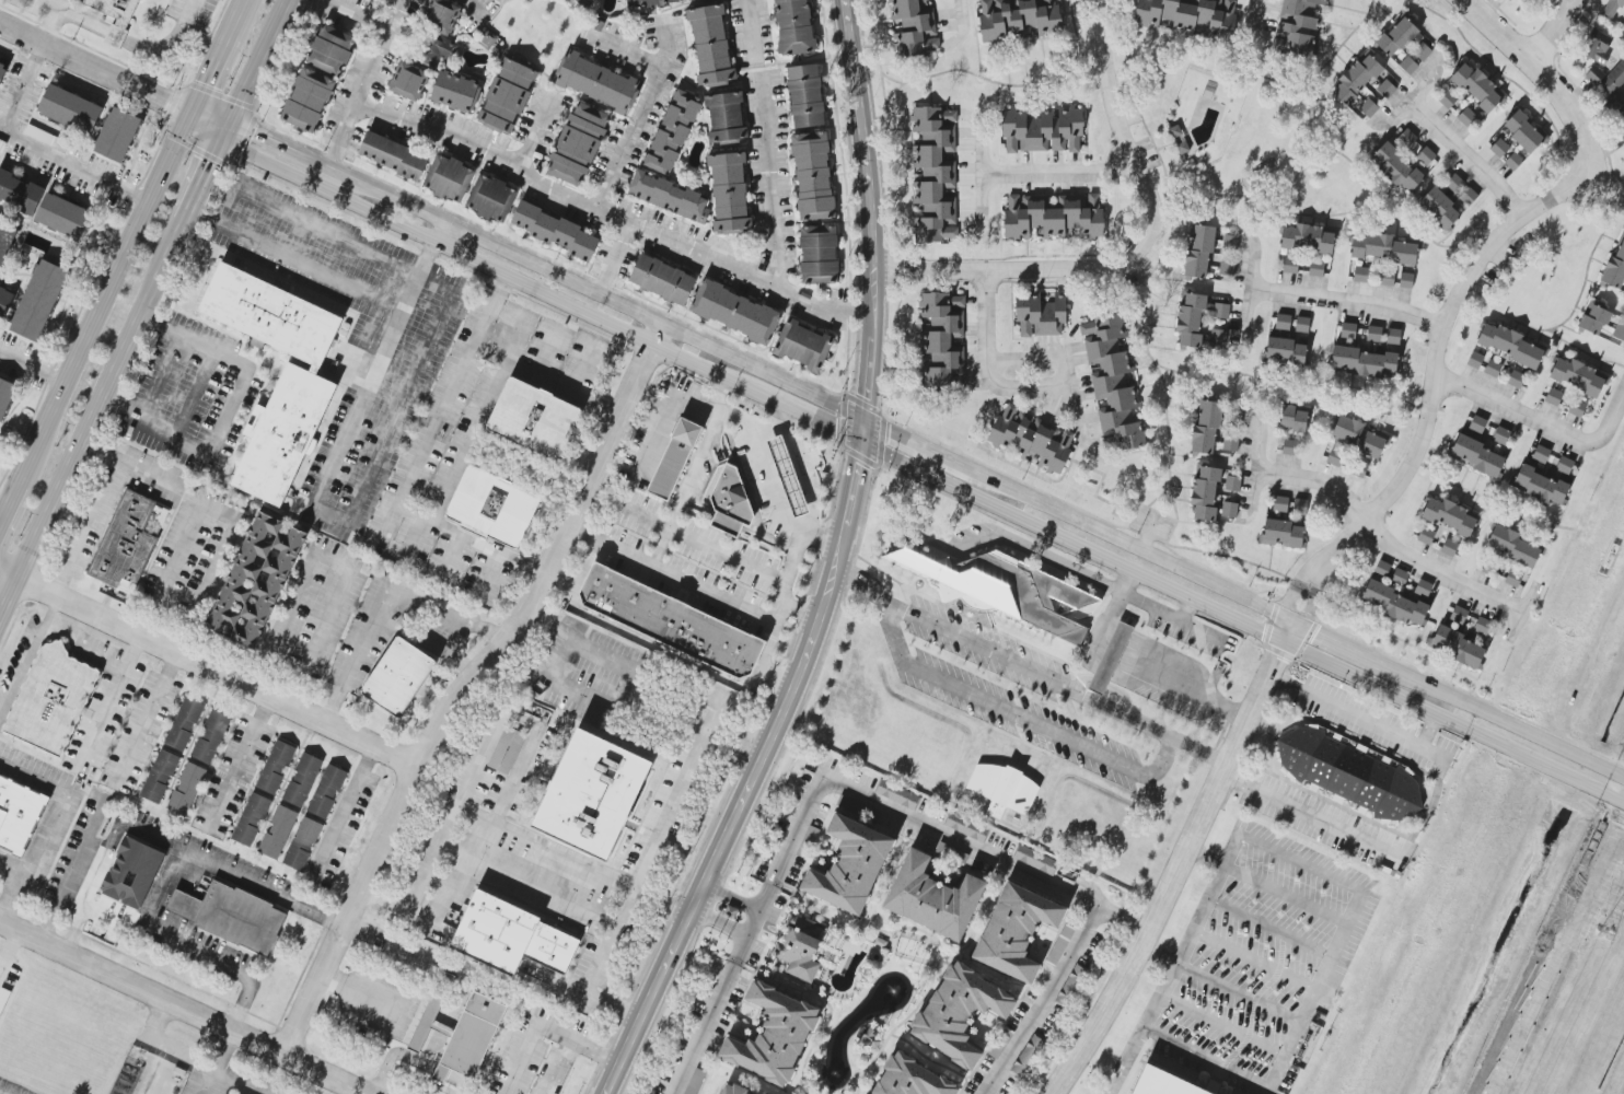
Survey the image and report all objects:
building: (502, 0)
building: (583, 2)
building: (651, 2)
road: (39, 5)
road: (240, 7)
building: (116, 8)
building: (1612, 8)
parking lot: (42, 9)
road: (475, 10)
parking lot: (195, 13)
road: (960, 13)
road: (395, 15)
building: (441, 15)
building: (1191, 15)
road: (1254, 16)
building: (1018, 18)
road: (47, 20)
road: (79, 22)
building: (794, 26)
building: (914, 27)
building: (1298, 27)
road: (751, 31)
building: (1622, 31)
road: (1551, 32)
road: (116, 37)
building: (1396, 37)
road: (170, 39)
road: (663, 40)
building: (710, 45)
building: (1597, 46)
building: (330, 49)
building: (433, 49)
building: (1422, 51)
road: (214, 63)
building: (1407, 66)
road: (95, 68)
road: (258, 68)
building: (2, 70)
building: (1594, 75)
building: (1356, 79)
building: (1613, 79)
road: (1544, 80)
road: (979, 81)
building: (408, 82)
building: (598, 82)
building: (1478, 88)
road: (24, 90)
building: (1385, 90)
building: (455, 92)
building: (508, 95)
building: (805, 96)
road: (1410, 97)
building: (308, 100)
building: (1448, 100)
road: (643, 102)
building: (1368, 107)
building: (70, 109)
building: (1621, 112)
traffic signals: (192, 115)
building: (726, 117)
building: (1468, 118)
road: (532, 130)
building: (1043, 130)
building: (673, 131)
building: (1524, 132)
building: (117, 135)
traffic signals: (227, 137)
building: (1179, 139)
building: (1407, 139)
road: (339, 141)
building: (578, 143)
building: (1499, 148)
road: (253, 149)
building: (393, 155)
building: (1426, 155)
road: (1466, 155)
building: (1513, 161)
building: (1395, 167)
road: (74, 168)
building: (936, 174)
road: (981, 174)
road: (1058, 174)
building: (813, 176)
building: (449, 178)
road: (540, 178)
road: (206, 179)
road: (769, 184)
building: (1454, 184)
building: (20, 193)
road: (1603, 193)
building: (730, 194)
building: (1468, 196)
building: (670, 197)
building: (491, 198)
building: (1439, 208)
building: (62, 216)
building: (1054, 216)
road: (865, 221)
building: (556, 232)
building: (1307, 238)
road: (343, 240)
building: (5, 242)
building: (1382, 248)
building: (1199, 249)
building: (819, 254)
road: (1132, 254)
road: (613, 259)
road: (297, 263)
building: (1290, 265)
building: (1615, 265)
building: (1316, 269)
building: (1361, 275)
building: (662, 279)
building: (1387, 279)
building: (1406, 280)
road: (1248, 290)
road: (591, 292)
road: (544, 295)
building: (4, 300)
road: (103, 300)
road: (1346, 300)
building: (39, 301)
building: (266, 311)
building: (1221, 311)
building: (735, 312)
building: (1040, 315)
building: (1191, 318)
building: (1594, 319)
building: (1283, 322)
building: (1302, 325)
building: (1348, 330)
building: (1619, 331)
building: (1374, 334)
building: (942, 336)
building: (1393, 336)
building: (1218, 338)
parking lot: (351, 340)
building: (1510, 345)
building: (803, 346)
building: (1285, 351)
building: (1475, 360)
road: (1059, 362)
building: (1364, 362)
road: (985, 363)
road: (378, 366)
road: (32, 368)
building: (1493, 369)
building: (1578, 376)
road: (158, 379)
building: (1516, 380)
road: (543, 384)
building: (1112, 384)
road: (1430, 392)
parking lot: (186, 395)
building: (5, 396)
road: (194, 396)
road: (719, 396)
building: (1553, 397)
road: (443, 408)
building: (1577, 408)
road: (225, 412)
traffic signals: (860, 418)
building: (1295, 418)
building: (531, 419)
road: (735, 419)
road: (93, 420)
road: (780, 421)
road: (1540, 422)
road: (816, 423)
building: (1477, 424)
road: (394, 427)
building: (1206, 427)
building: (277, 432)
building: (1500, 435)
building: (1358, 437)
building: (1032, 438)
parking lot: (472, 439)
road: (904, 439)
road: (467, 443)
traffic signals: (859, 443)
building: (1231, 443)
building: (1290, 447)
building: (1541, 454)
building: (1478, 456)
building: (669, 459)
building: (1346, 461)
road: (128, 464)
building: (1565, 465)
road: (1254, 468)
building: (784, 476)
road: (768, 480)
building: (1233, 484)
building: (1540, 486)
road: (684, 489)
building: (1205, 491)
building: (728, 496)
road: (8, 502)
building: (1280, 503)
building: (1300, 507)
road: (2, 509)
building: (488, 510)
building: (1229, 510)
road: (218, 513)
building: (1450, 516)
road: (83, 527)
building: (1281, 533)
building: (1426, 536)
road: (473, 539)
road: (1385, 540)
building: (125, 543)
road: (1120, 543)
road: (704, 544)
building: (1512, 546)
building: (1449, 548)
road: (332, 561)
building: (1382, 568)
road: (671, 574)
building: (1400, 577)
road: (1082, 578)
building: (1513, 578)
building: (255, 581)
building: (1423, 587)
building: (1006, 589)
road: (384, 602)
building: (1393, 603)
road: (1522, 610)
road: (797, 612)
road: (1187, 612)
building: (1459, 615)
building: (666, 620)
road: (1240, 622)
traffic signals: (1290, 625)
building: (1482, 627)
road: (1286, 633)
traffic signals: (1281, 642)
road: (1335, 644)
building: (1455, 647)
road: (28, 657)
building: (1111, 657)
road: (100, 659)
road: (1128, 667)
road: (208, 670)
road: (1026, 670)
building: (395, 672)
road: (720, 677)
road: (776, 677)
road: (466, 684)
parking lot: (999, 685)
building: (48, 699)
road: (108, 705)
road: (1019, 718)
road: (1358, 720)
road: (1504, 721)
road: (144, 722)
building: (184, 724)
road: (1427, 732)
parking lot: (138, 734)
building: (211, 736)
building: (504, 749)
road: (235, 766)
building: (276, 767)
road: (750, 773)
building: (1347, 773)
building: (160, 777)
parking lot: (231, 778)
road: (684, 778)
building: (302, 780)
road: (511, 788)
building: (186, 789)
building: (588, 789)
building: (1002, 789)
building: (326, 791)
building: (897, 794)
parking lot: (42, 813)
building: (16, 815)
road: (345, 815)
road: (1310, 816)
building: (251, 819)
road: (49, 823)
parking lot: (340, 827)
building: (966, 827)
building: (278, 833)
building: (302, 843)
building: (807, 845)
road: (170, 846)
road: (1231, 851)
road: (1205, 858)
road: (1000, 859)
building: (1035, 860)
road: (1299, 864)
road: (9, 866)
road: (72, 866)
building: (848, 866)
building: (128, 872)
road: (1174, 872)
road: (526, 885)
road: (1285, 895)
road: (730, 896)
road: (657, 903)
building: (926, 903)
road: (1353, 908)
building: (227, 916)
road: (1121, 918)
road: (755, 920)
power tower: (1610, 920)
road: (718, 923)
road: (1269, 927)
building: (1008, 932)
building: (507, 936)
road: (184, 941)
building: (1060, 945)
building: (798, 946)
road: (10, 952)
road: (1158, 955)
road: (1253, 962)
parking lot: (1255, 964)
parking lot: (7, 979)
road: (1167, 981)
building: (1072, 986)
road: (1315, 988)
fountain: (894, 992)
road: (1238, 994)
building: (3, 998)
road: (185, 1005)
building: (952, 1015)
building: (428, 1024)
road: (1222, 1025)
road: (705, 1027)
road: (544, 1031)
building: (766, 1034)
building: (466, 1035)
parking lot: (534, 1052)
building: (1028, 1056)
road: (1207, 1058)
road: (217, 1060)
road: (558, 1069)
road: (406, 1070)
road: (1278, 1071)
fountain: (836, 1073)
building: (905, 1079)
parking lot: (228, 1080)
building: (1161, 1083)
road: (231, 1084)
parking lot: (11, 1089)
road: (985, 1089)
building: (727, 1091)
road: (368, 1093)

